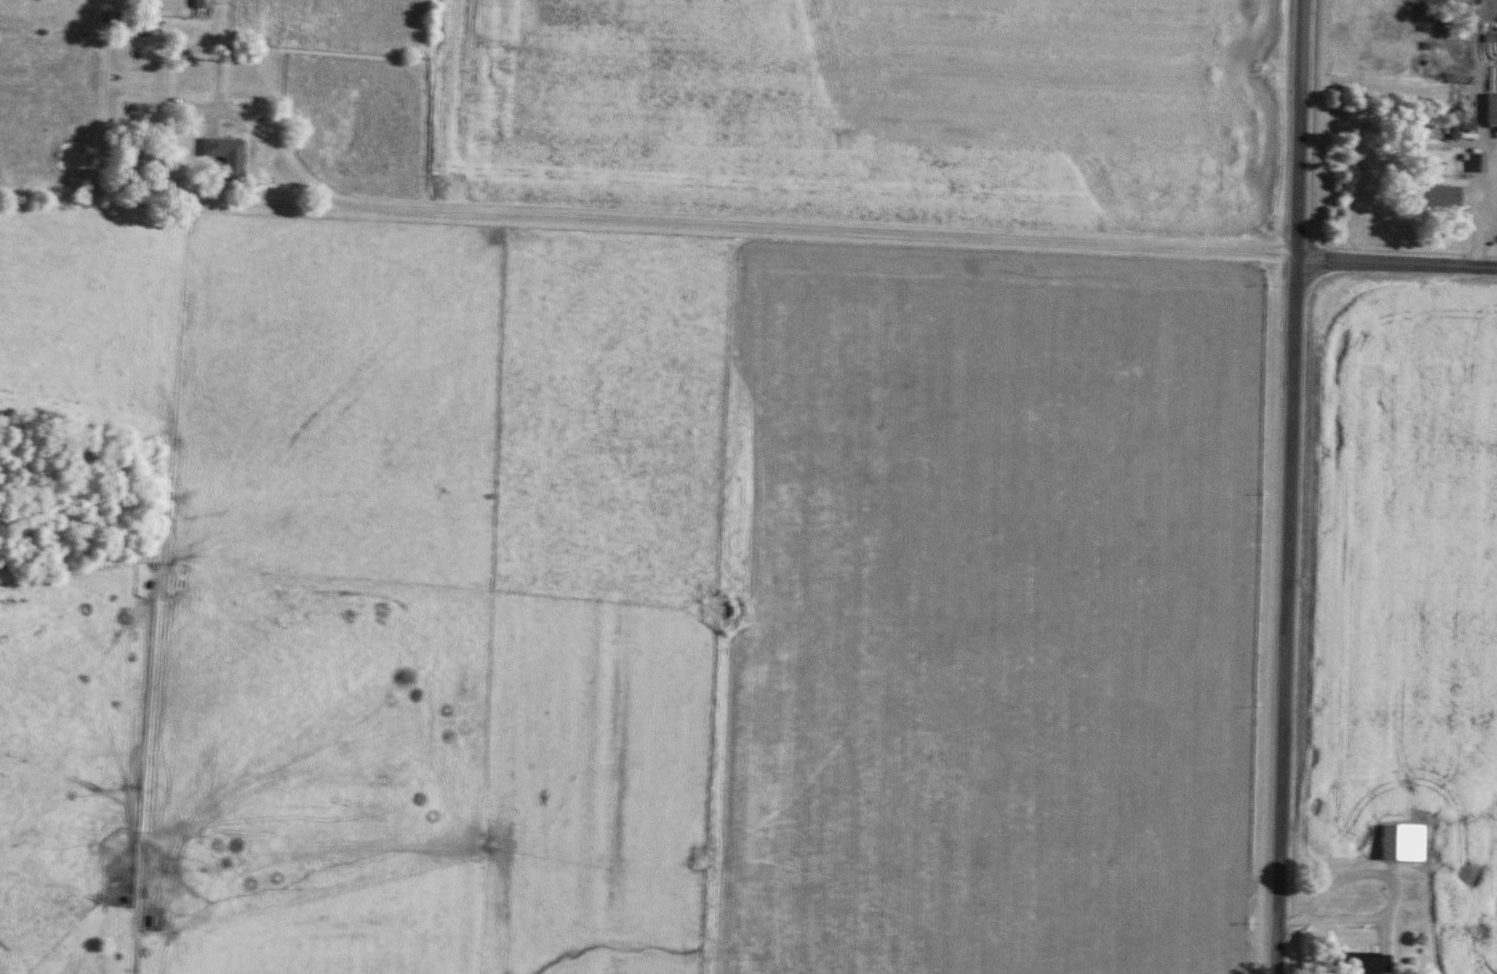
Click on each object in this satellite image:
building: (205, 4)
building: (1493, 108)
building: (227, 156)
building: (1478, 163)
road: (725, 227)
road: (1396, 265)
road: (1289, 487)
road: (154, 709)
road: (717, 799)
building: (1404, 842)
road: (1384, 911)
road: (1290, 922)
building: (1367, 963)

